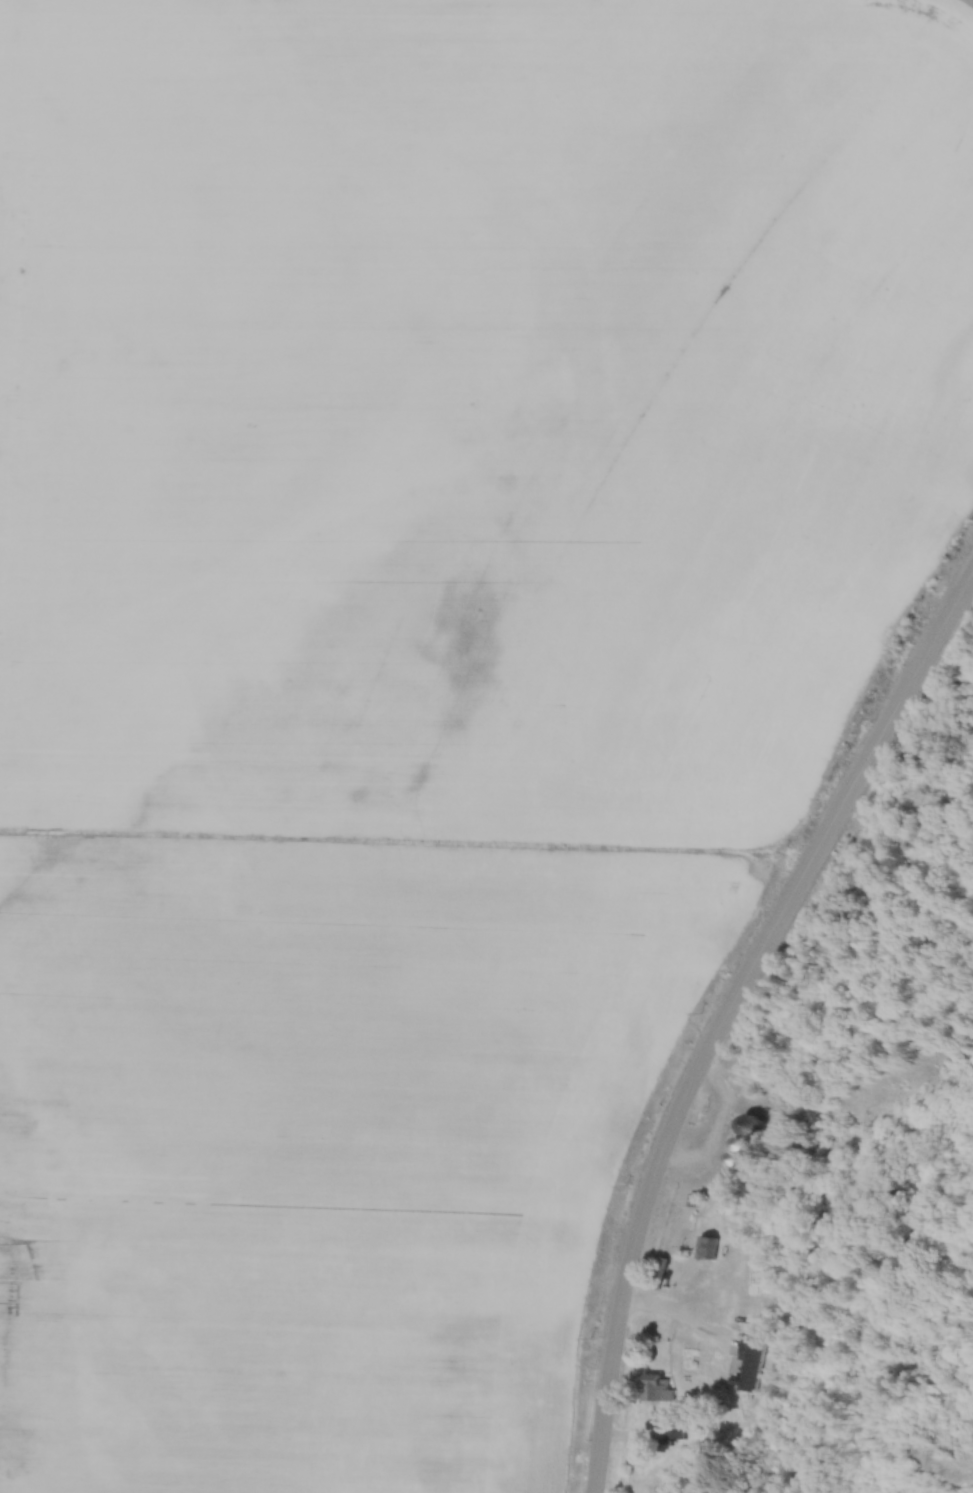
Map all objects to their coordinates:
road: (722, 1005)
building: (750, 1122)
building: (733, 1157)
building: (708, 1245)
building: (660, 1270)
building: (656, 1385)

